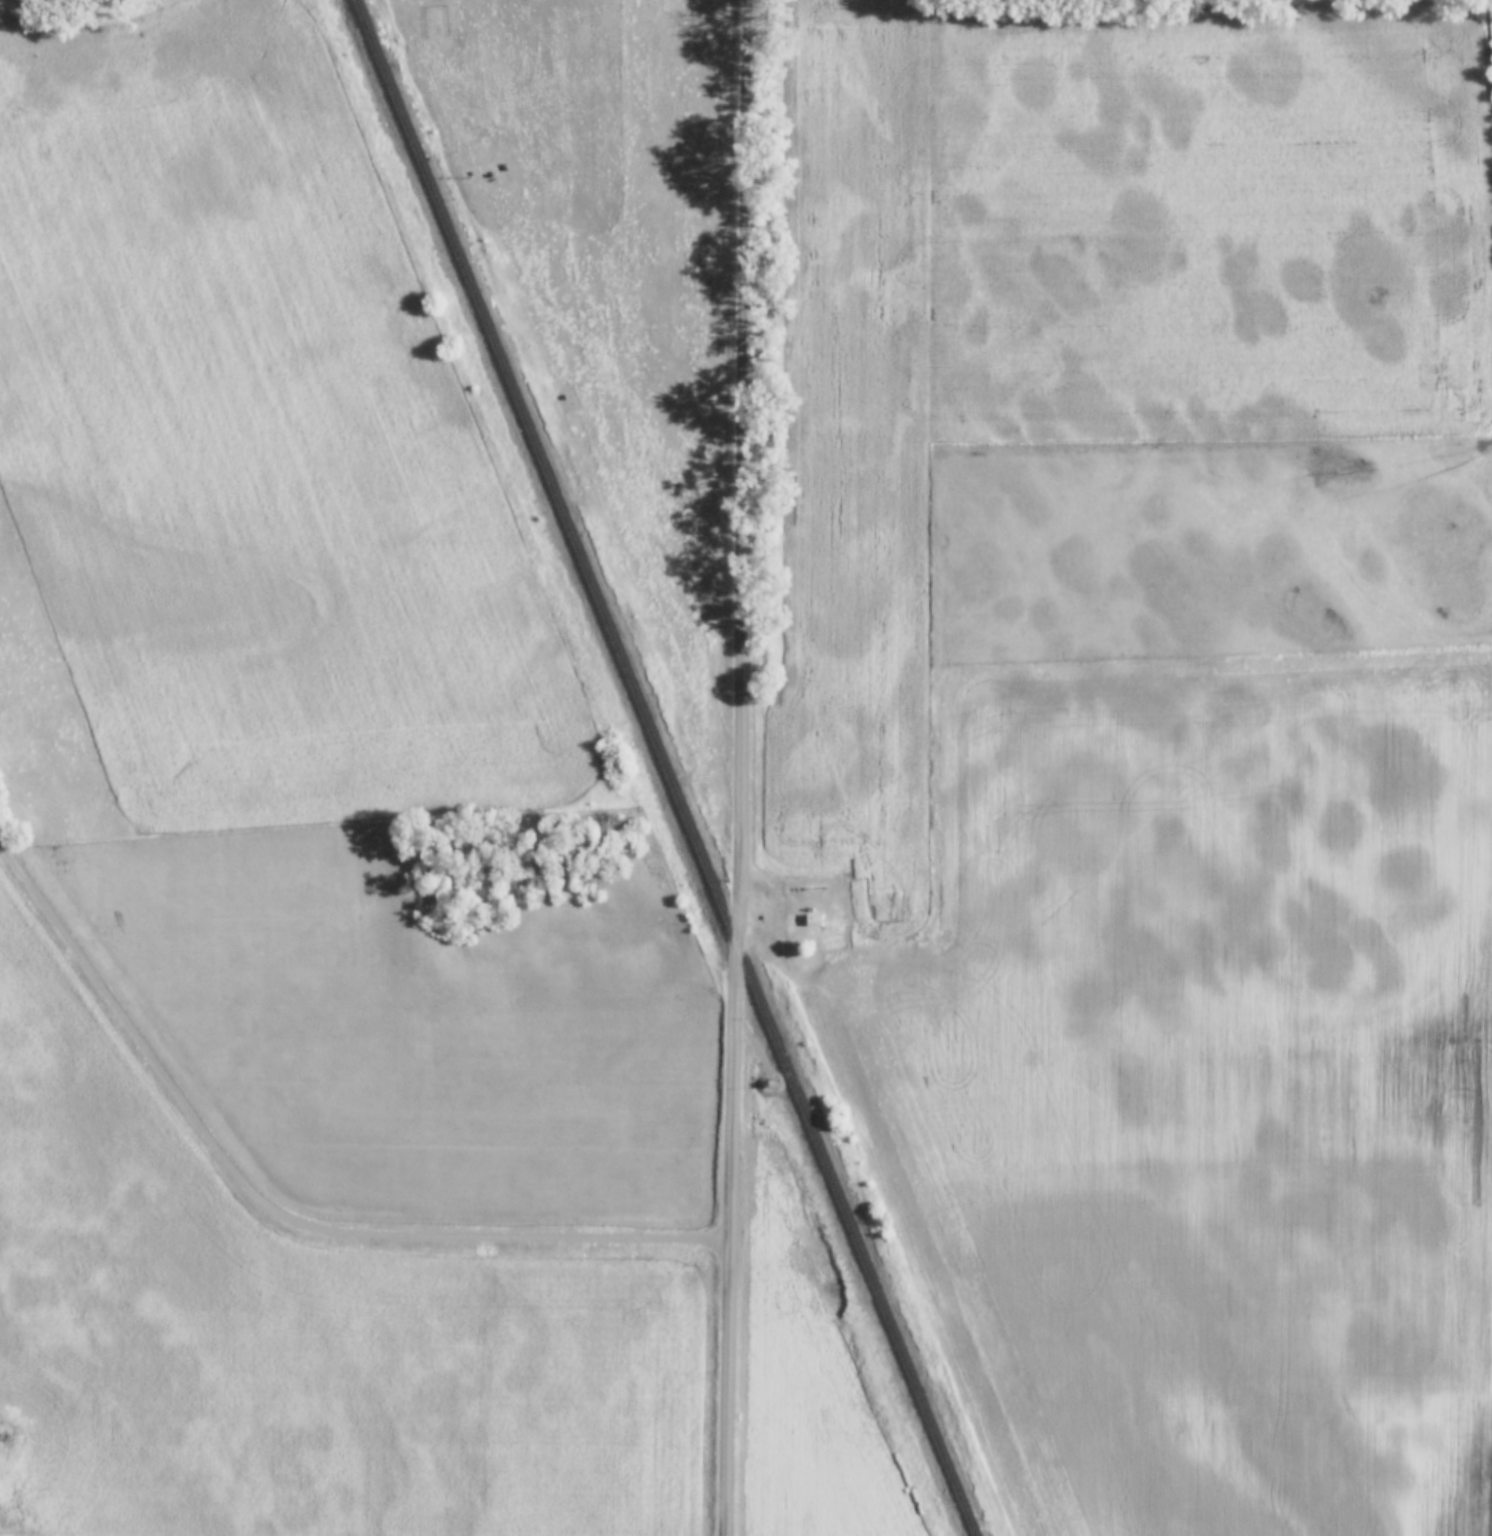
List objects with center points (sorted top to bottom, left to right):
railway: (663, 767)
road: (741, 768)
building: (814, 921)
road: (277, 1208)

